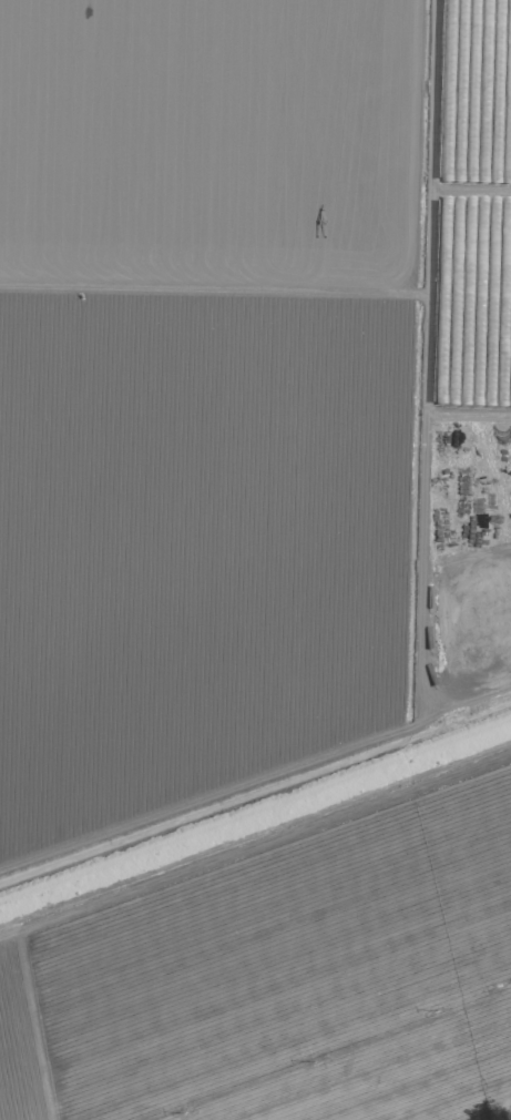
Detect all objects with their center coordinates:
crop: (468, 31)
crop: (467, 182)
crop: (463, 406)
crop: (255, 560)
crop: (459, 615)

